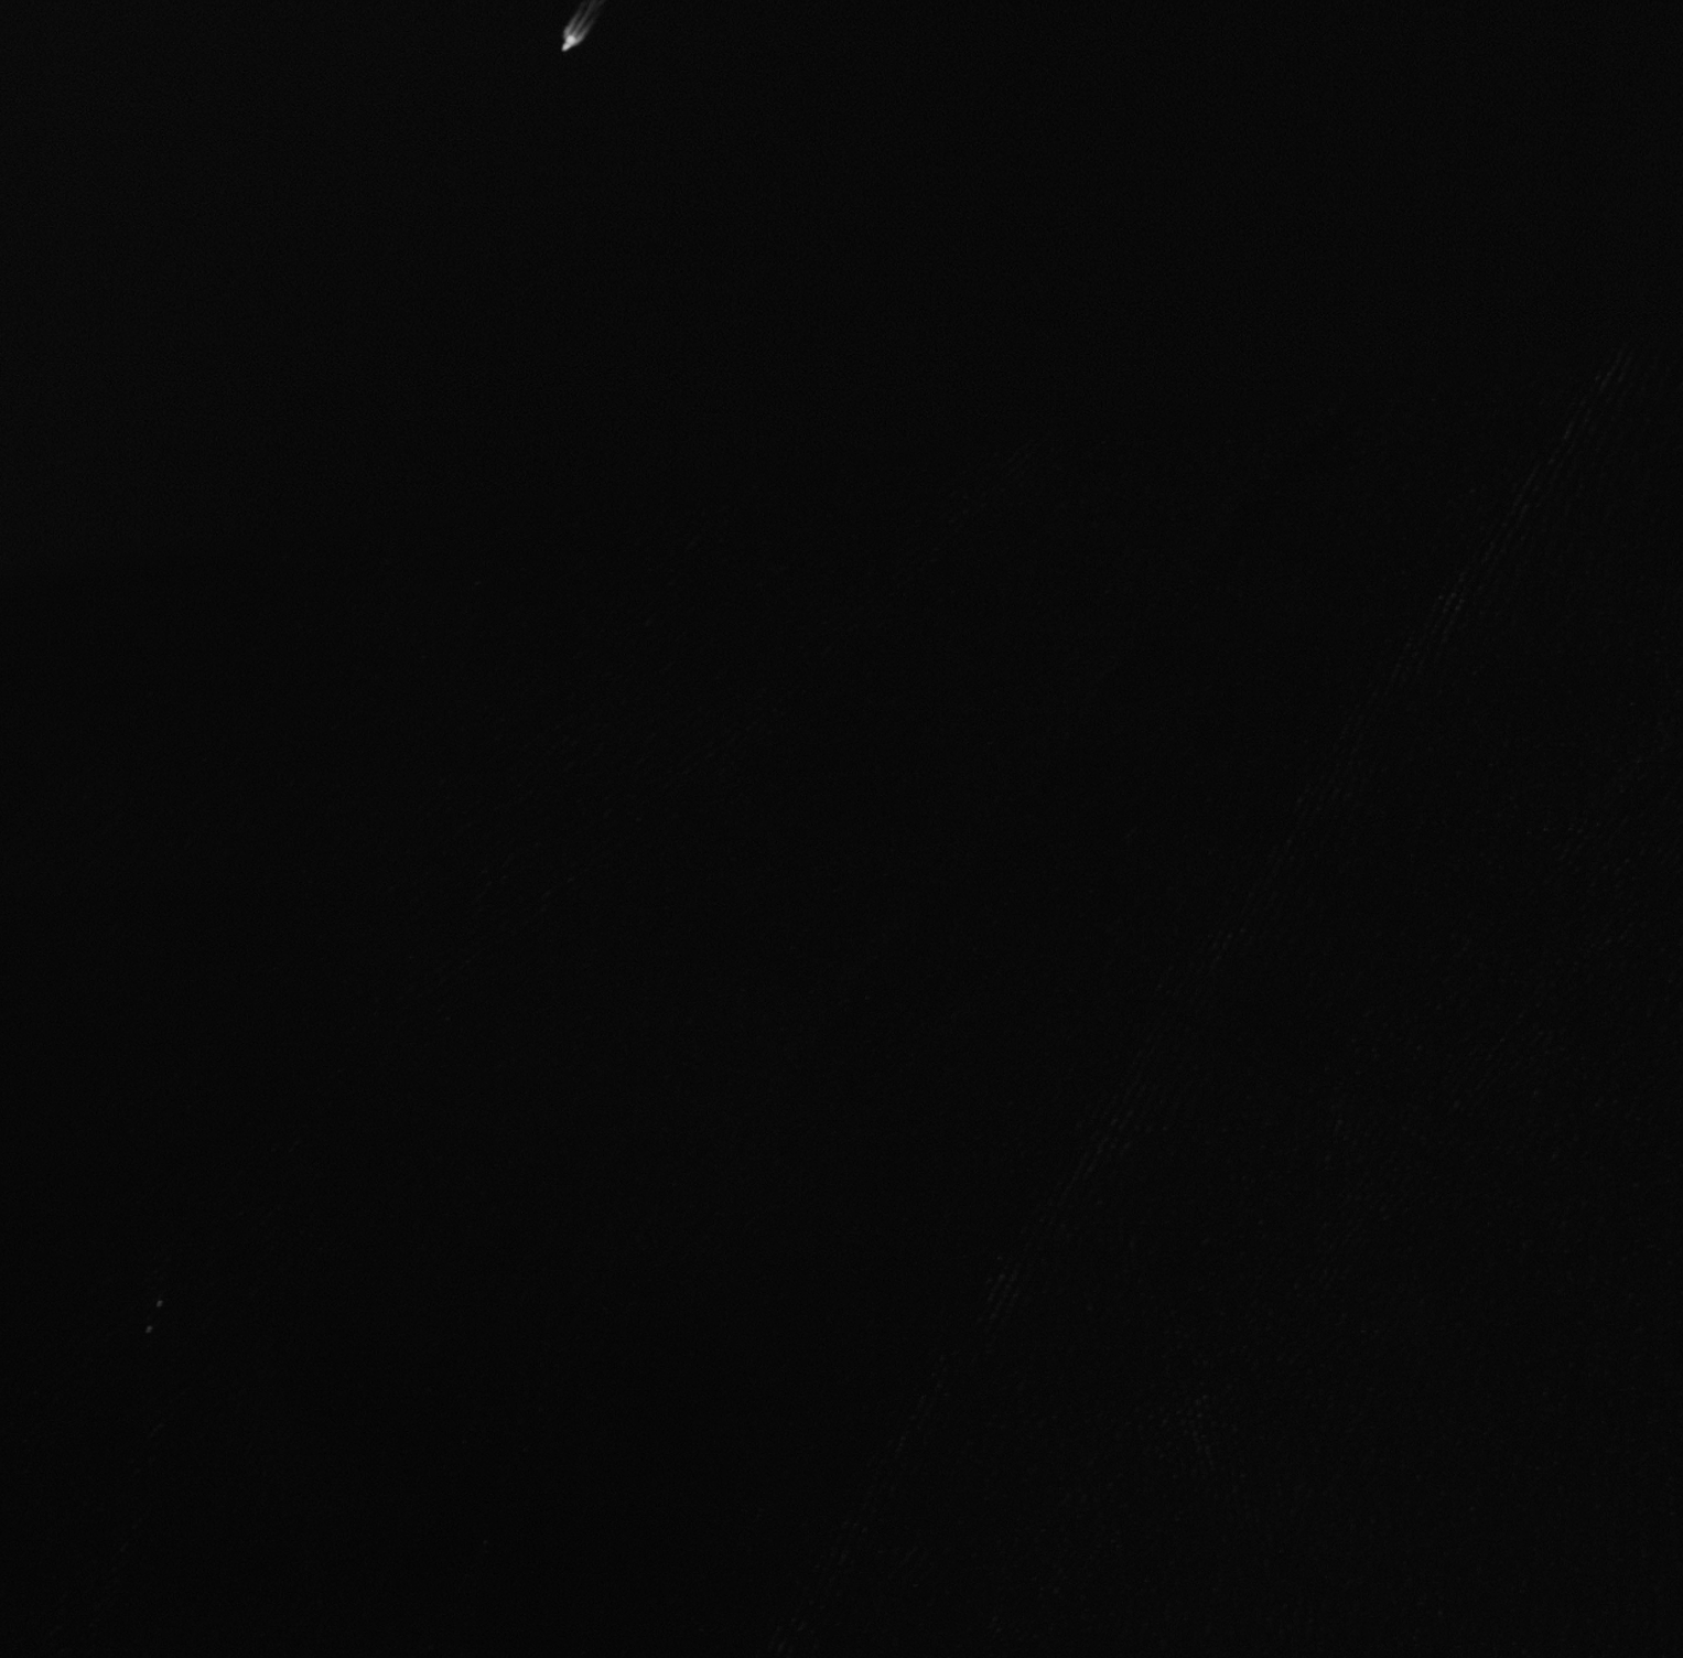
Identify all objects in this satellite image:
river: (1554, 1131)

